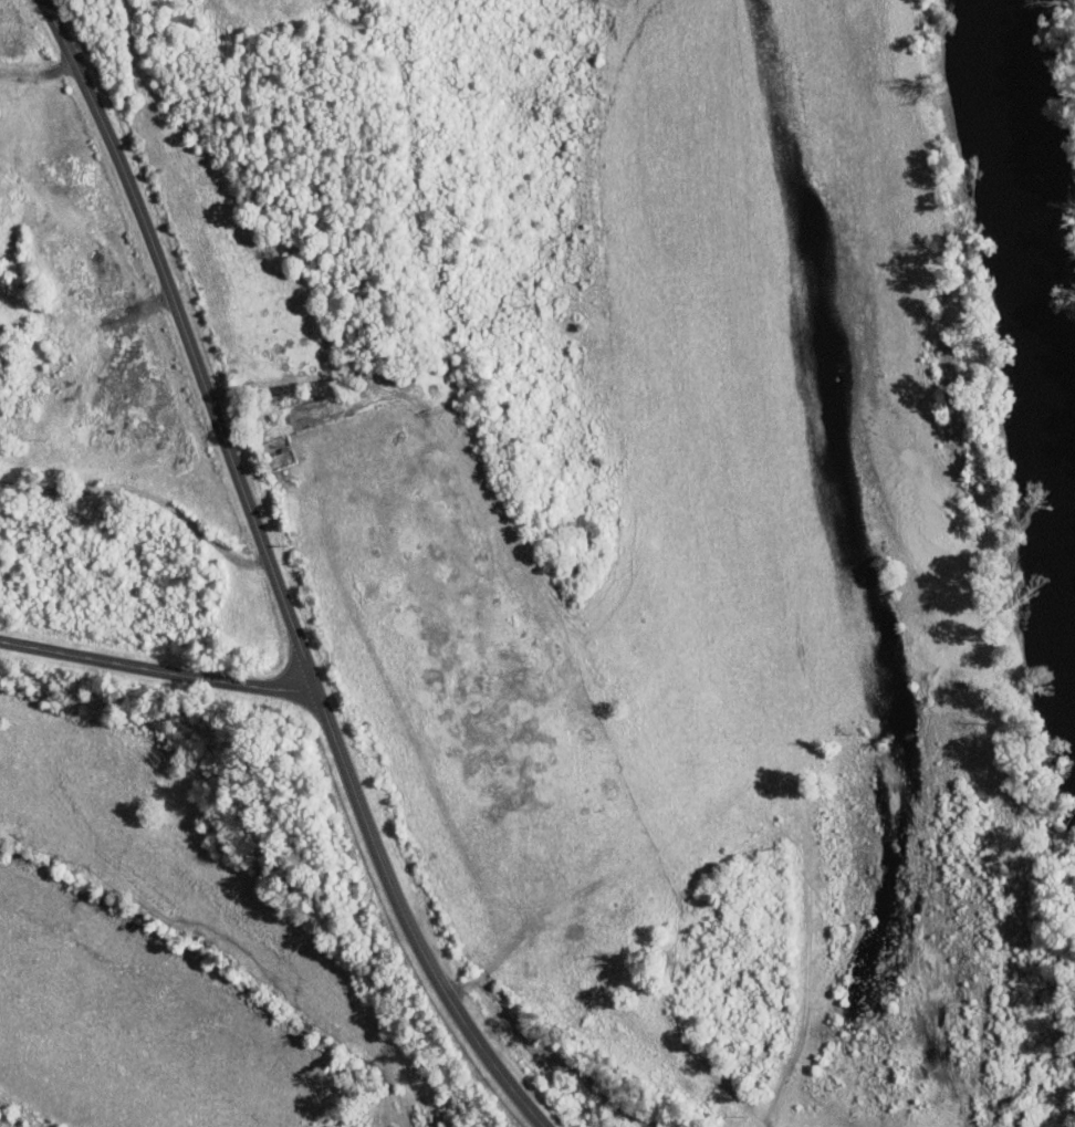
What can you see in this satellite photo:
road: (39, 70)
river: (1043, 274)
road: (274, 574)
road: (156, 668)
road: (550, 1052)

